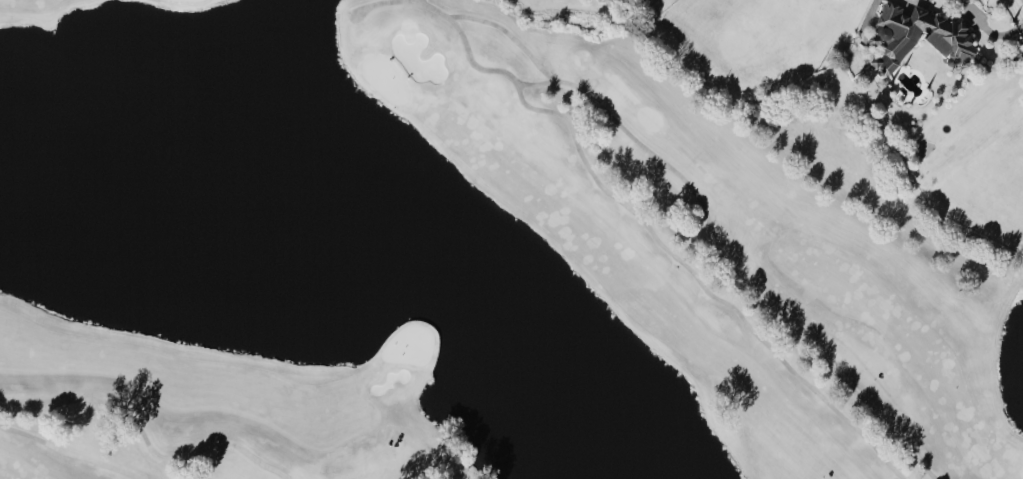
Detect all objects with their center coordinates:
building: (947, 36)
park: (470, 256)

